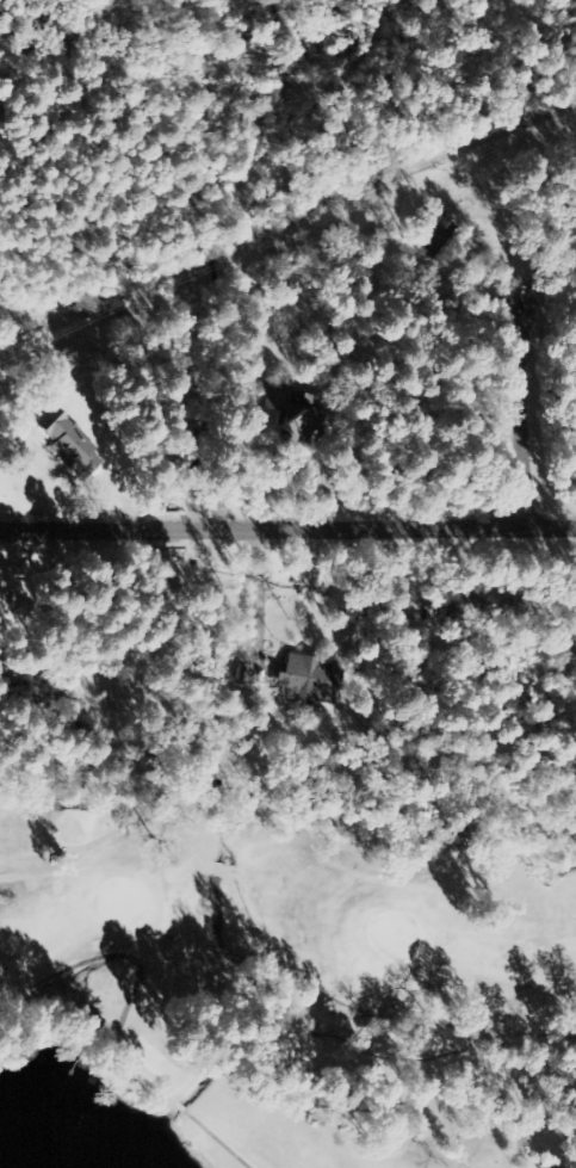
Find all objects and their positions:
road: (527, 415)
building: (299, 431)
building: (68, 445)
road: (287, 532)
building: (309, 681)
park: (287, 954)

